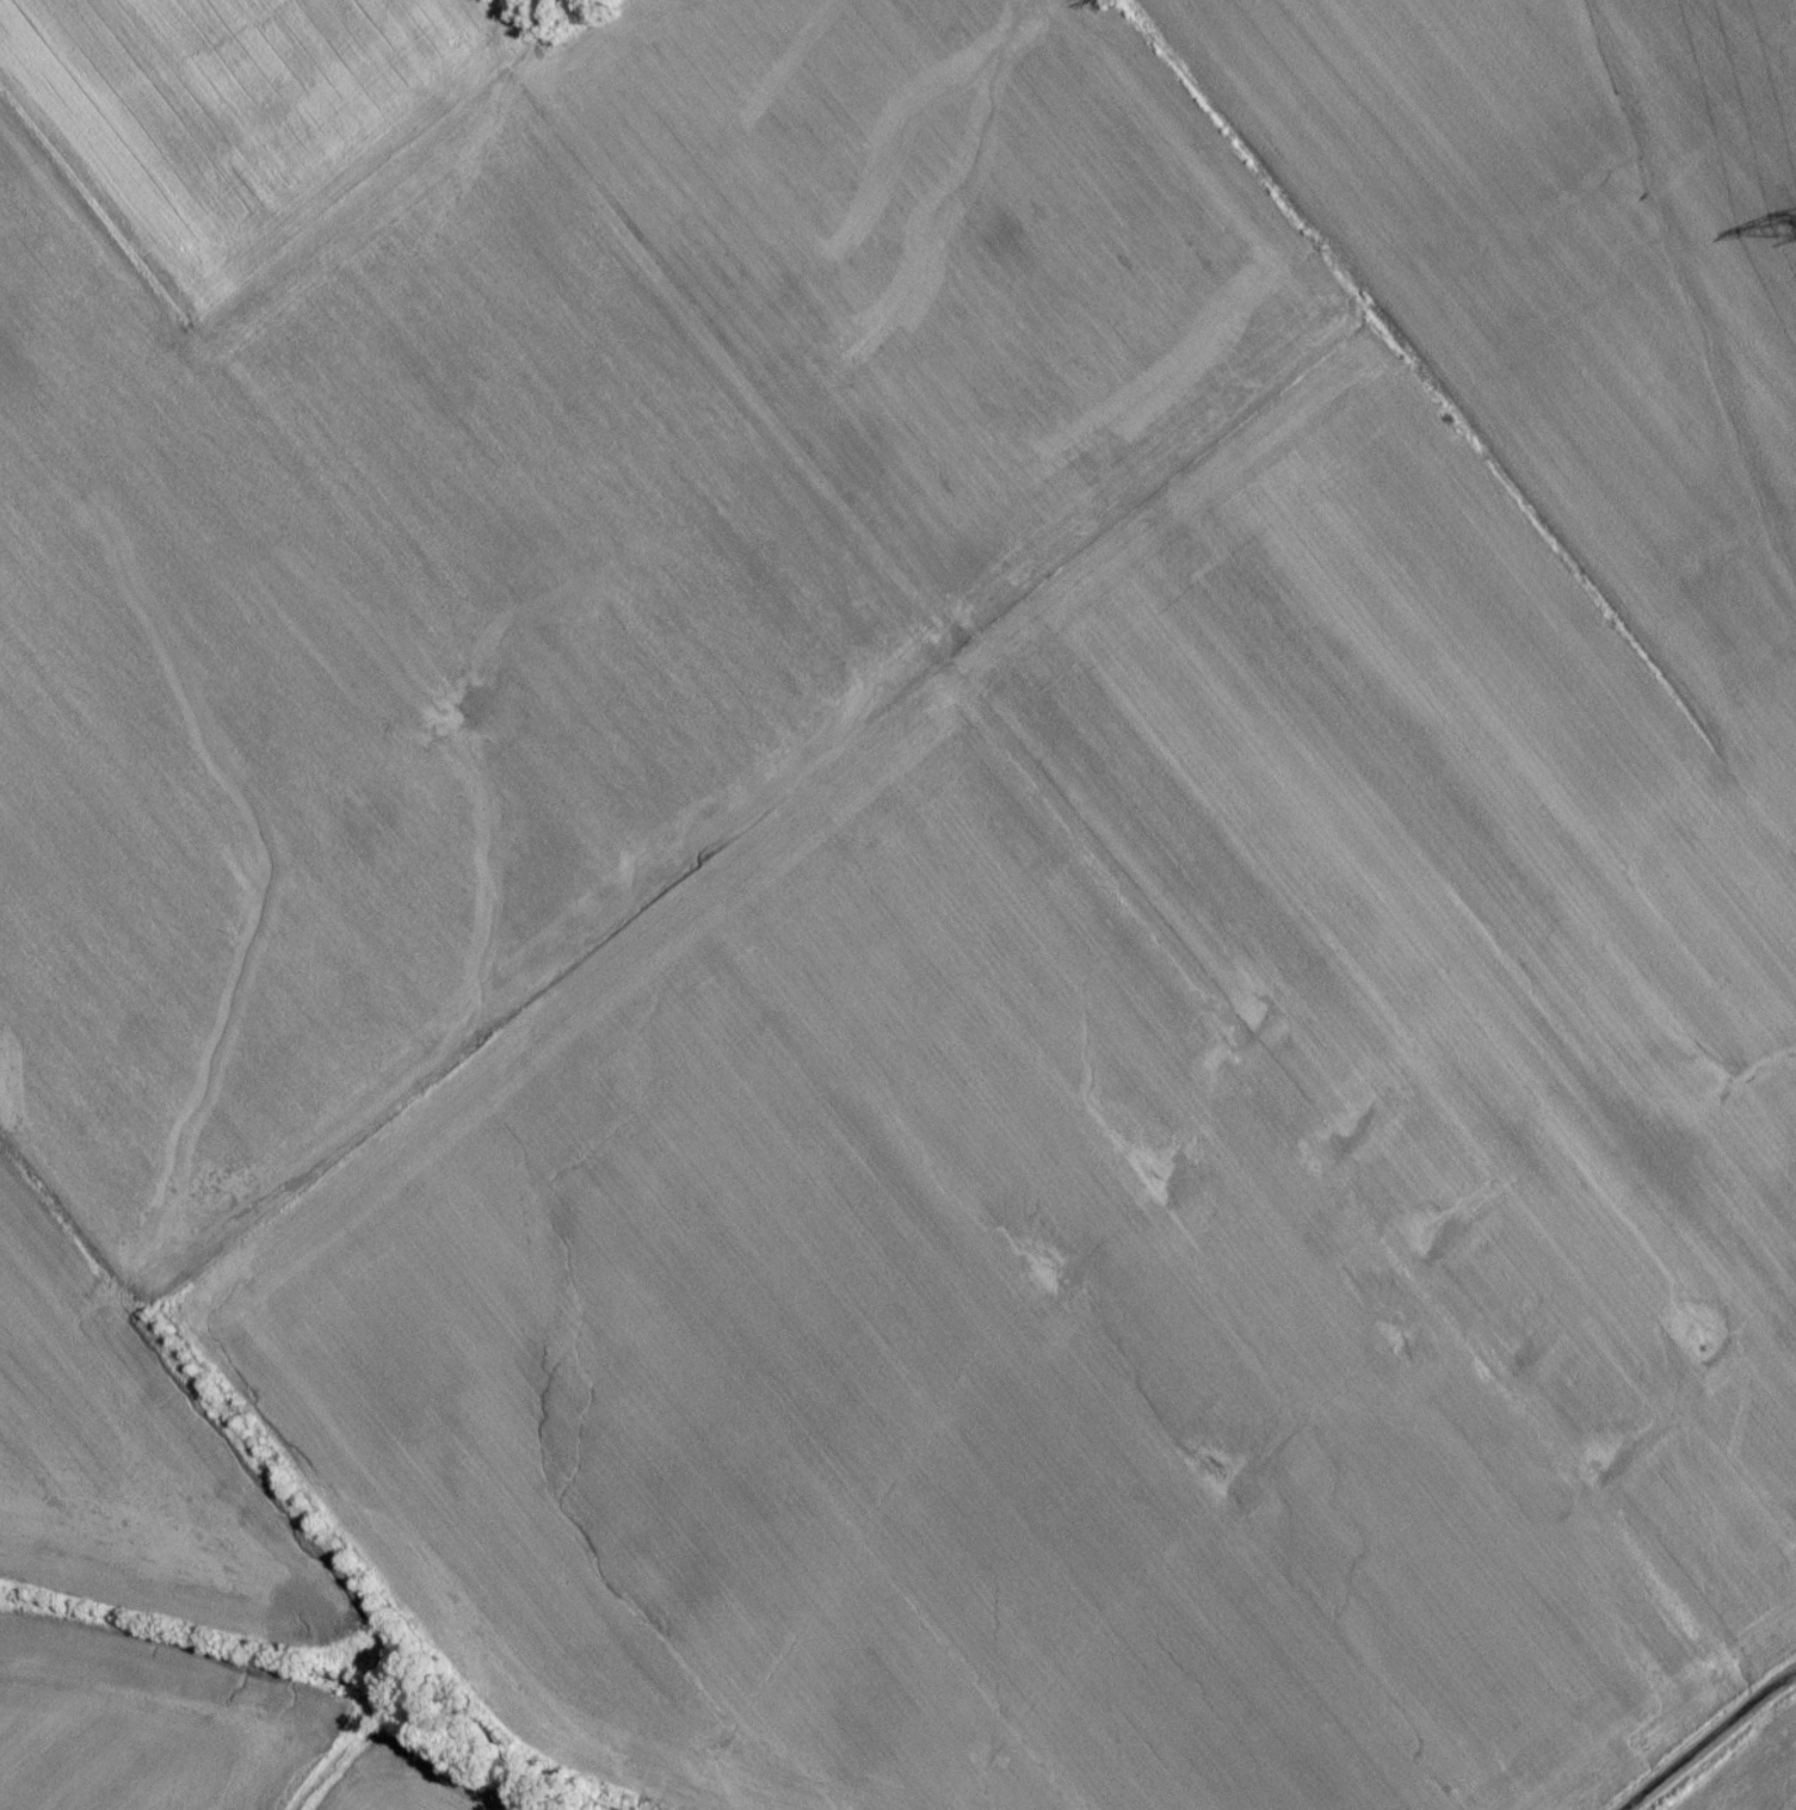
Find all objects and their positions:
road: (1710, 1742)

